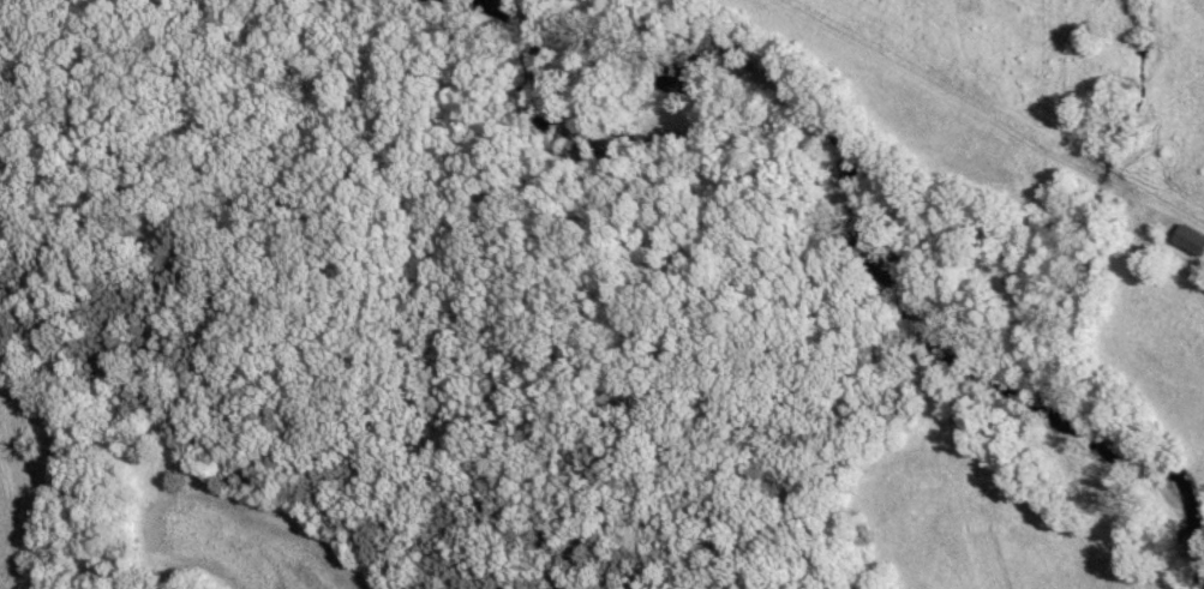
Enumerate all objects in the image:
building: (1191, 240)

